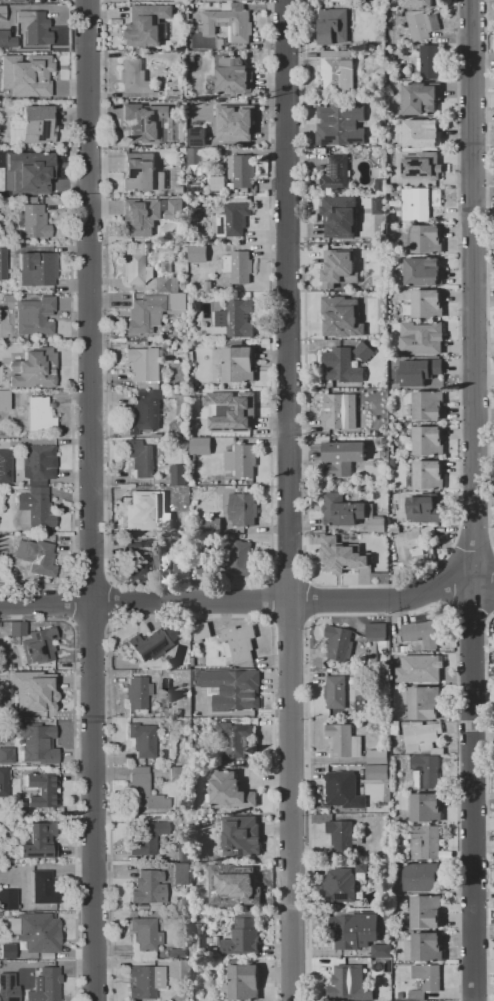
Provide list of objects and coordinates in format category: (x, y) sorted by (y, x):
building: (16, 0)
building: (181, 0)
building: (416, 3)
building: (190, 7)
building: (2, 10)
building: (399, 14)
building: (188, 15)
building: (228, 21)
building: (145, 23)
building: (333, 25)
building: (422, 25)
building: (35, 28)
building: (6, 39)
building: (31, 50)
building: (193, 58)
building: (430, 61)
building: (338, 70)
building: (27, 74)
building: (409, 75)
building: (233, 76)
building: (135, 77)
building: (175, 86)
building: (421, 98)
building: (232, 100)
building: (145, 121)
building: (233, 122)
building: (338, 123)
building: (37, 124)
building: (422, 135)
building: (197, 137)
building: (200, 154)
building: (422, 165)
building: (241, 169)
building: (336, 172)
building: (142, 173)
building: (34, 174)
building: (218, 183)
building: (380, 185)
building: (195, 186)
building: (4, 187)
building: (180, 188)
building: (419, 202)
building: (378, 205)
building: (175, 210)
building: (141, 216)
building: (340, 216)
building: (233, 219)
building: (35, 221)
building: (425, 239)
building: (197, 253)
building: (3, 263)
building: (339, 264)
building: (166, 266)
building: (239, 266)
building: (37, 268)
building: (135, 269)
building: (423, 271)
building: (169, 283)
building: (208, 286)
building: (178, 300)
building: (425, 304)
building: (197, 306)
building: (34, 315)
building: (144, 315)
building: (236, 316)
building: (341, 316)
building: (427, 335)
building: (145, 342)
building: (178, 350)
building: (364, 351)
building: (391, 361)
building: (237, 364)
building: (341, 366)
building: (145, 367)
building: (34, 368)
building: (419, 371)
building: (5, 399)
building: (427, 404)
building: (340, 410)
building: (234, 411)
building: (40, 414)
building: (144, 415)
building: (201, 426)
building: (427, 440)
building: (385, 441)
building: (200, 445)
building: (341, 457)
building: (141, 458)
building: (240, 460)
building: (5, 462)
building: (39, 464)
building: (179, 474)
building: (426, 475)
building: (179, 497)
road: (91, 500)
road: (290, 500)
road: (474, 500)
building: (243, 508)
building: (425, 508)
building: (34, 509)
building: (146, 509)
building: (349, 512)
building: (215, 523)
building: (395, 528)
building: (411, 541)
building: (420, 553)
building: (341, 555)
building: (37, 557)
building: (135, 557)
building: (240, 557)
building: (181, 567)
building: (205, 567)
building: (167, 572)
building: (158, 574)
building: (380, 579)
road: (247, 604)
building: (17, 629)
building: (201, 630)
building: (377, 631)
building: (420, 633)
building: (153, 642)
building: (239, 642)
building: (339, 642)
building: (39, 645)
building: (404, 650)
building: (193, 661)
building: (189, 666)
building: (420, 668)
building: (194, 671)
building: (164, 686)
building: (232, 689)
building: (340, 691)
building: (137, 692)
building: (182, 692)
building: (44, 693)
building: (424, 702)
building: (164, 703)
building: (178, 713)
building: (398, 726)
building: (421, 735)
building: (142, 739)
building: (236, 739)
building: (344, 740)
building: (40, 741)
building: (162, 754)
building: (6, 755)
building: (377, 756)
building: (355, 767)
building: (377, 772)
building: (426, 772)
building: (178, 774)
road: (73, 776)
building: (4, 782)
building: (42, 790)
building: (142, 790)
building: (344, 790)
building: (229, 791)
building: (426, 807)
building: (343, 835)
building: (145, 836)
building: (241, 836)
building: (39, 841)
building: (425, 842)
building: (183, 847)
building: (364, 869)
building: (182, 873)
building: (420, 875)
building: (340, 885)
building: (41, 886)
building: (236, 886)
building: (148, 887)
building: (202, 890)
building: (8, 899)
building: (211, 905)
building: (426, 911)
building: (386, 929)
building: (27, 931)
building: (354, 931)
building: (144, 933)
building: (42, 934)
building: (243, 934)
building: (198, 940)
building: (424, 947)
building: (8, 950)
building: (215, 950)
building: (382, 950)
building: (176, 953)
building: (1, 963)
building: (13, 967)
building: (184, 970)
building: (242, 980)
building: (425, 980)
building: (145, 981)
building: (351, 984)
building: (46, 985)
building: (435, 1000)

